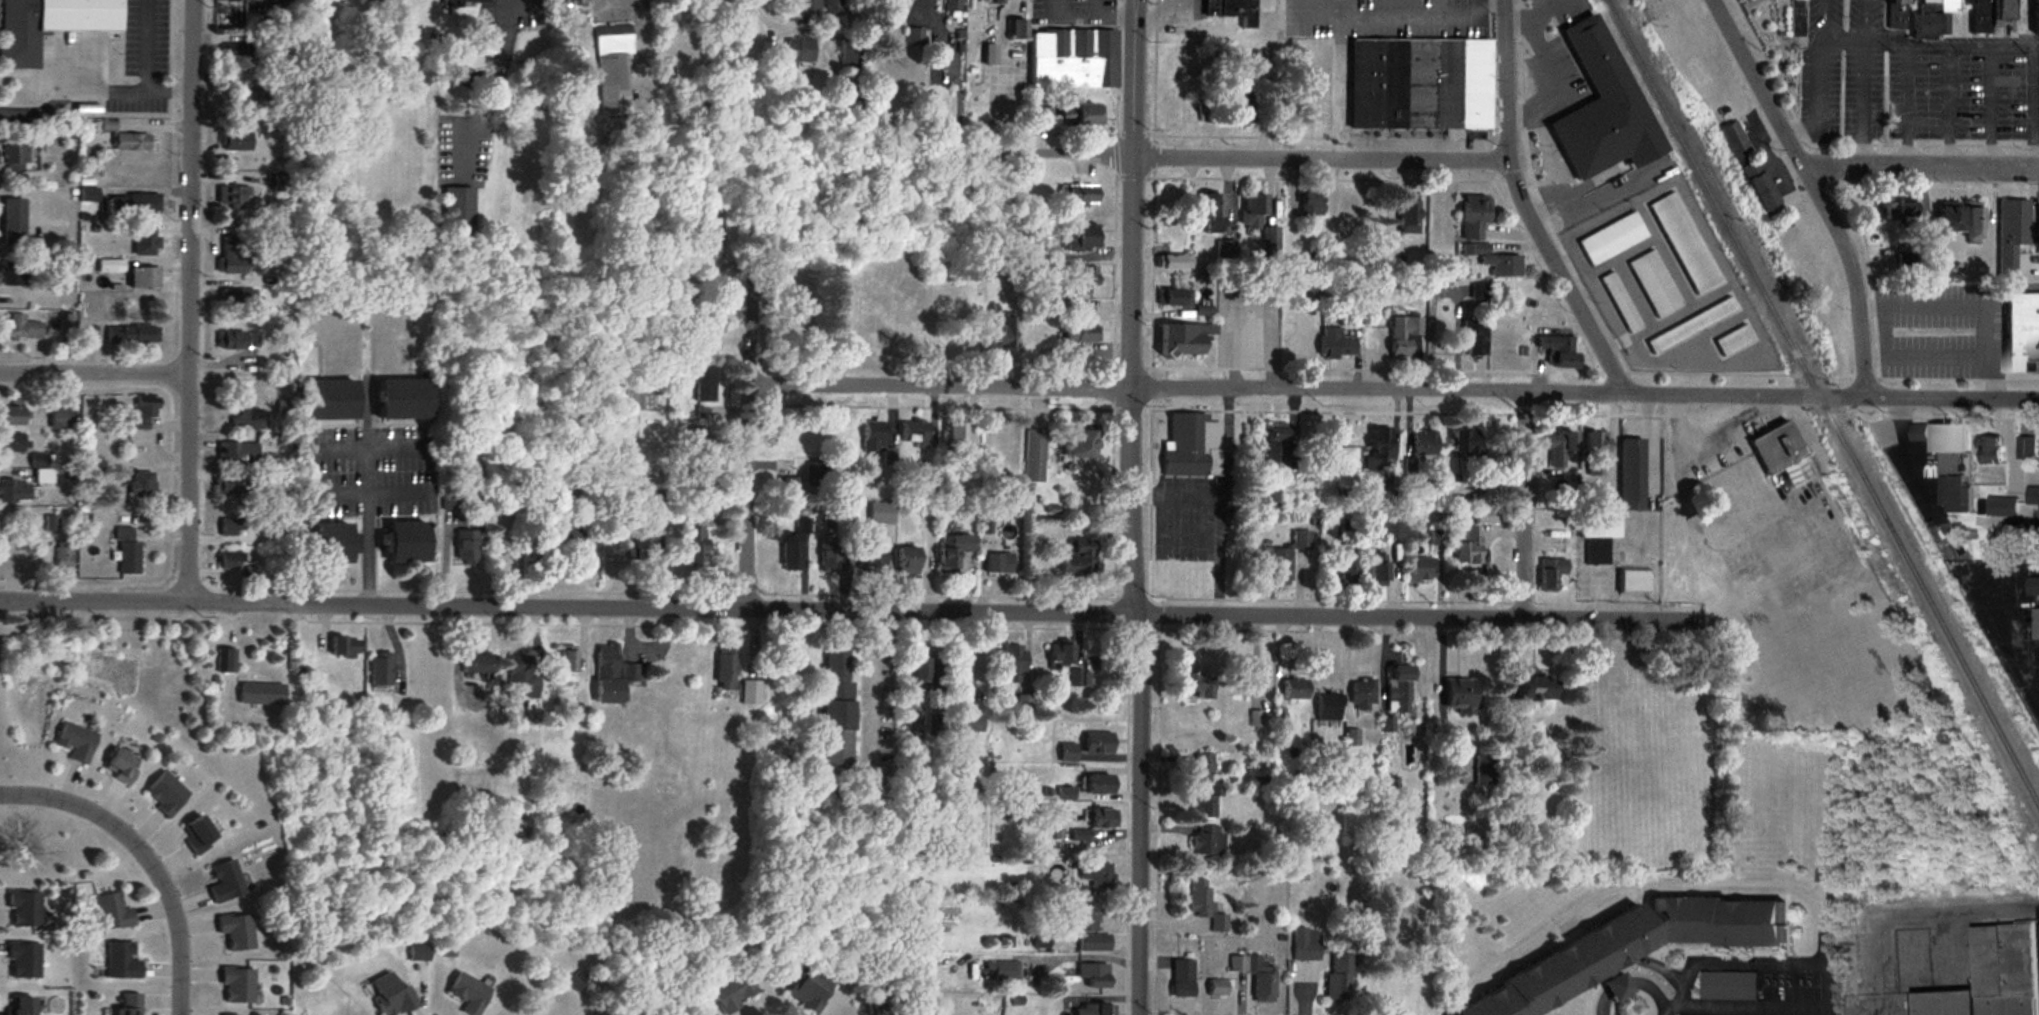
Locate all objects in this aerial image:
building: (229, 0)
building: (1795, 0)
building: (1962, 1)
building: (899, 2)
building: (998, 2)
building: (464, 3)
building: (565, 3)
road: (502, 4)
building: (1945, 4)
building: (949, 6)
building: (1998, 9)
building: (803, 11)
building: (1231, 11)
road: (1374, 13)
road: (1464, 13)
building: (1893, 14)
building: (1978, 15)
building: (2035, 15)
building: (1924, 20)
building: (47, 24)
building: (1015, 30)
building: (912, 38)
park: (1770, 46)
building: (796, 50)
building: (234, 51)
building: (1071, 60)
building: (613, 68)
road: (950, 73)
road: (997, 75)
road: (499, 76)
building: (1418, 84)
building: (1611, 88)
building: (1238, 114)
building: (1040, 115)
building: (1085, 116)
building: (234, 134)
building: (1731, 141)
building: (129, 142)
road: (1030, 152)
road: (1323, 154)
building: (17, 157)
road: (1922, 163)
road: (1818, 188)
building: (1758, 190)
building: (1078, 195)
building: (231, 197)
building: (135, 204)
road: (1525, 206)
building: (1309, 207)
building: (1209, 208)
building: (1350, 208)
building: (457, 211)
building: (1895, 211)
building: (1253, 212)
building: (1408, 214)
building: (1473, 216)
building: (1440, 218)
building: (1944, 219)
building: (15, 222)
building: (1970, 226)
building: (1610, 239)
building: (1078, 240)
building: (708, 241)
building: (2010, 241)
building: (148, 243)
building: (1682, 243)
building: (1224, 250)
building: (231, 257)
building: (1494, 262)
building: (1174, 263)
building: (113, 266)
building: (14, 273)
building: (147, 278)
building: (1076, 281)
building: (1653, 284)
road: (189, 299)
building: (235, 299)
building: (1176, 299)
road: (1972, 301)
building: (1619, 303)
building: (1204, 311)
building: (69, 323)
building: (1689, 326)
building: (22, 328)
building: (706, 328)
building: (2020, 333)
building: (134, 334)
building: (1000, 334)
building: (1403, 334)
building: (1082, 336)
building: (1183, 340)
building: (1731, 340)
building: (236, 341)
building: (1474, 342)
building: (1290, 344)
building: (1335, 344)
building: (1558, 351)
road: (1926, 352)
road: (94, 373)
building: (699, 380)
road: (1394, 389)
railway: (1820, 399)
building: (397, 400)
building: (324, 401)
building: (144, 415)
building: (16, 416)
building: (246, 418)
building: (64, 419)
building: (914, 434)
building: (872, 437)
building: (1940, 437)
building: (958, 438)
building: (998, 439)
building: (1380, 442)
building: (15, 443)
building: (1424, 443)
building: (1082, 444)
building: (1467, 444)
building: (1191, 447)
building: (2025, 447)
building: (1774, 448)
building: (1987, 448)
building: (1558, 449)
building: (1279, 452)
building: (234, 454)
building: (1594, 454)
road: (748, 456)
building: (1035, 456)
building: (1629, 475)
building: (45, 476)
building: (144, 485)
building: (228, 486)
building: (1746, 490)
building: (15, 491)
building: (1952, 493)
building: (2010, 493)
road: (367, 502)
road: (1522, 506)
road: (1134, 507)
building: (880, 514)
building: (51, 523)
building: (229, 527)
building: (1387, 528)
building: (1597, 535)
building: (1436, 537)
building: (2013, 538)
building: (556, 539)
building: (691, 541)
building: (401, 544)
building: (326, 545)
building: (642, 545)
building: (465, 546)
building: (1464, 546)
building: (951, 551)
building: (64, 554)
building: (868, 557)
building: (130, 558)
building: (827, 558)
building: (1078, 558)
building: (1282, 559)
building: (227, 560)
building: (905, 561)
building: (998, 563)
building: (1418, 570)
building: (1346, 573)
building: (1376, 573)
building: (1549, 573)
building: (1631, 581)
building: (2032, 585)
road: (841, 610)
building: (2035, 623)
building: (342, 646)
building: (1059, 652)
building: (566, 658)
building: (225, 659)
building: (1010, 662)
building: (476, 664)
building: (923, 667)
building: (378, 669)
building: (724, 670)
building: (517, 672)
building: (610, 672)
building: (1081, 678)
building: (1193, 682)
building: (1529, 686)
building: (1294, 688)
building: (1397, 688)
building: (259, 693)
building: (1361, 693)
building: (1457, 695)
building: (1327, 706)
building: (1024, 707)
building: (1686, 708)
building: (835, 709)
building: (967, 722)
building: (1387, 723)
building: (73, 741)
building: (1096, 742)
building: (1066, 752)
building: (118, 765)
building: (1201, 767)
building: (1096, 782)
building: (164, 793)
building: (1204, 803)
building: (1098, 819)
building: (196, 834)
building: (1205, 840)
road: (149, 855)
building: (1093, 874)
building: (224, 882)
building: (1074, 891)
building: (1198, 898)
building: (22, 909)
building: (111, 911)
building: (1080, 918)
building: (1217, 923)
building: (235, 931)
building: (1092, 942)
building: (1304, 944)
building: (1628, 947)
building: (417, 953)
building: (21, 960)
building: (119, 960)
road: (1756, 962)
building: (1004, 970)
building: (1092, 974)
building: (1338, 976)
building: (1990, 976)
building: (1179, 978)
building: (1259, 979)
road: (1630, 982)
building: (236, 984)
building: (1728, 985)
building: (1614, 986)
building: (1215, 987)
building: (807, 990)
building: (644, 991)
building: (731, 991)
building: (466, 992)
building: (389, 995)
building: (127, 1004)
building: (18, 1005)
road: (1749, 1005)
building: (1092, 1009)
building: (229, 1014)

